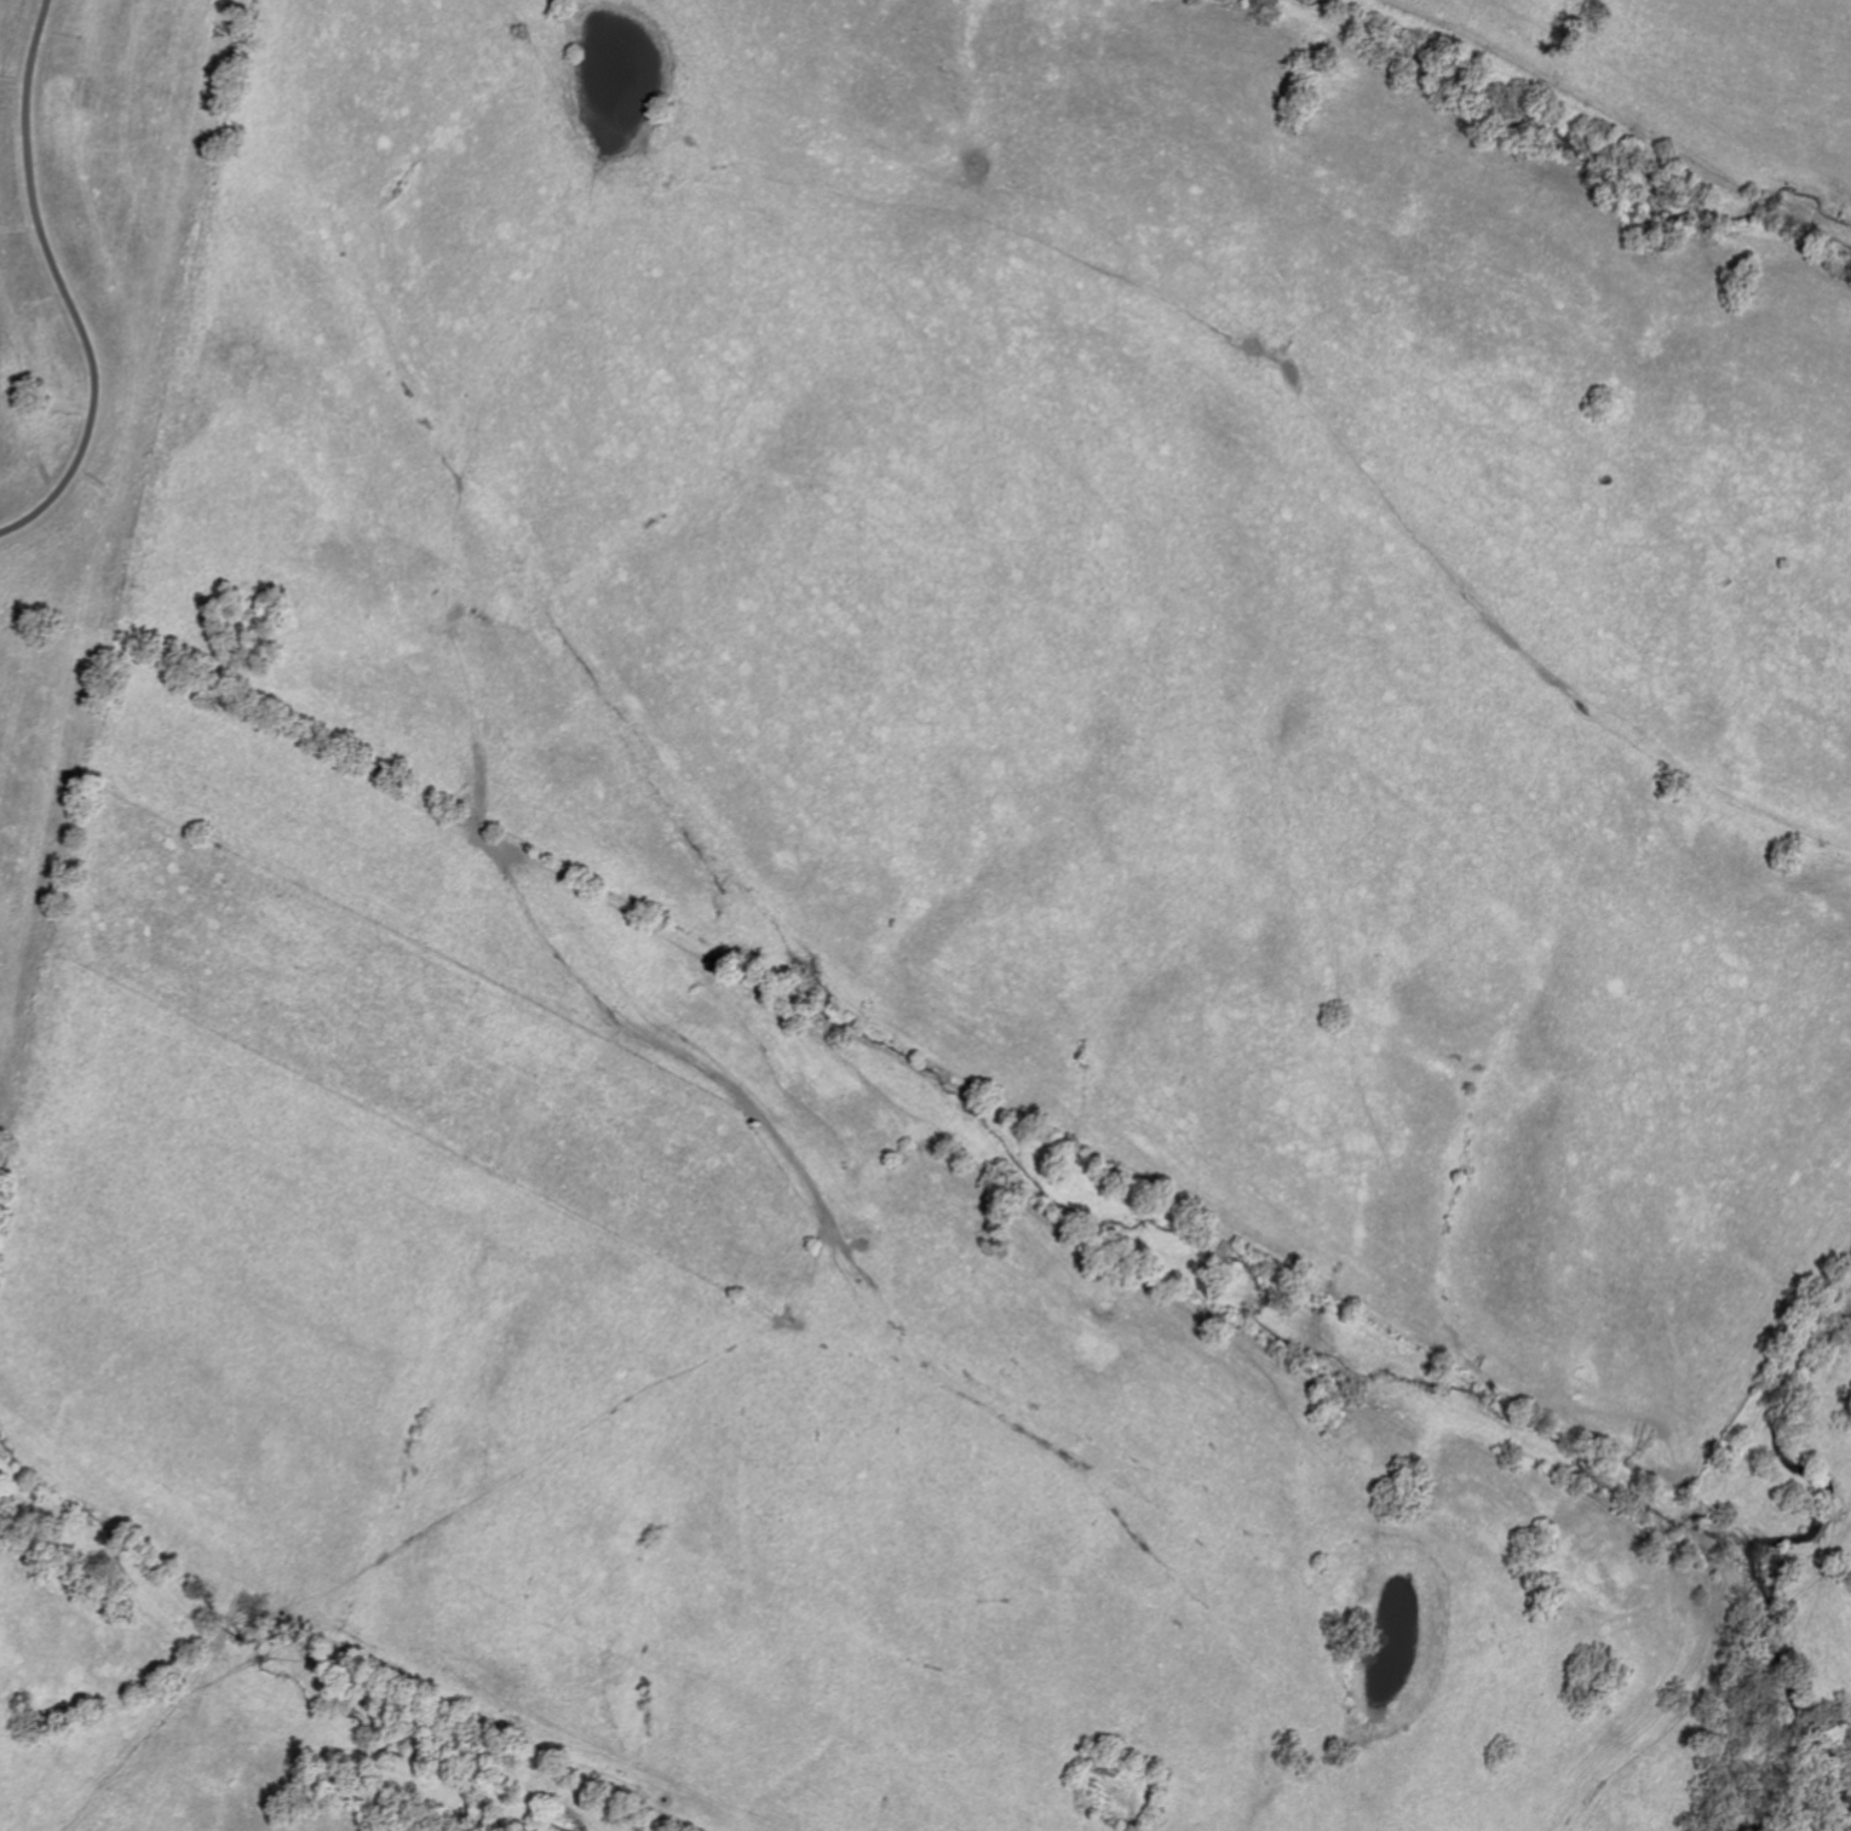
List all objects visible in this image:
road: (62, 286)
park: (77, 354)

